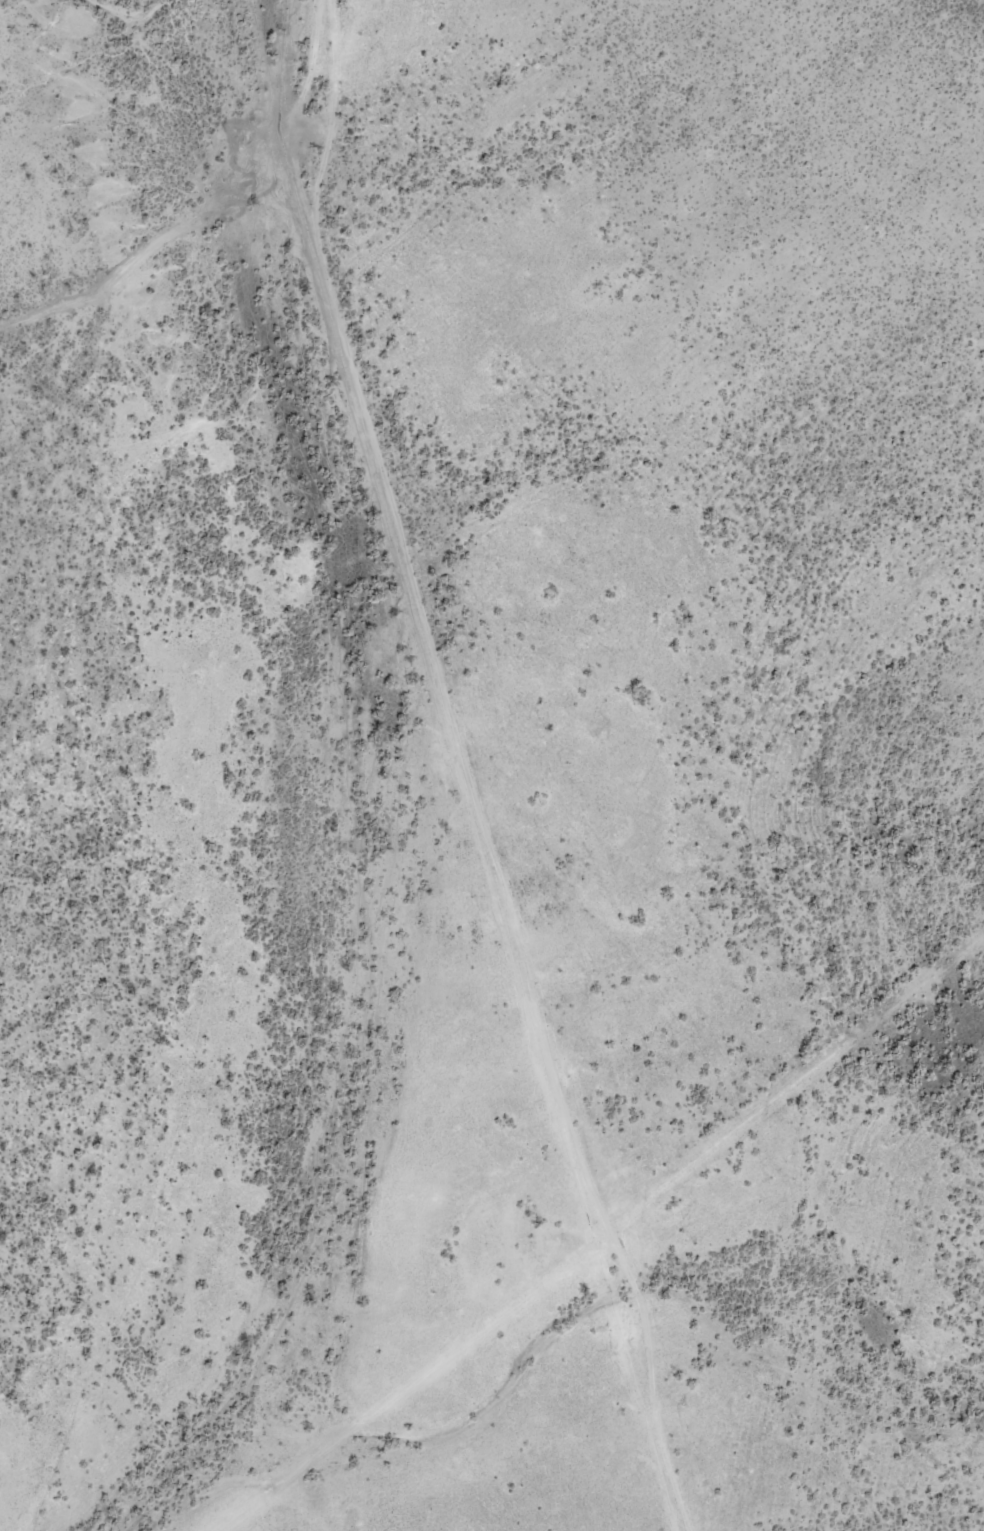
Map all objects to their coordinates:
road: (80, 546)
road: (489, 1498)

